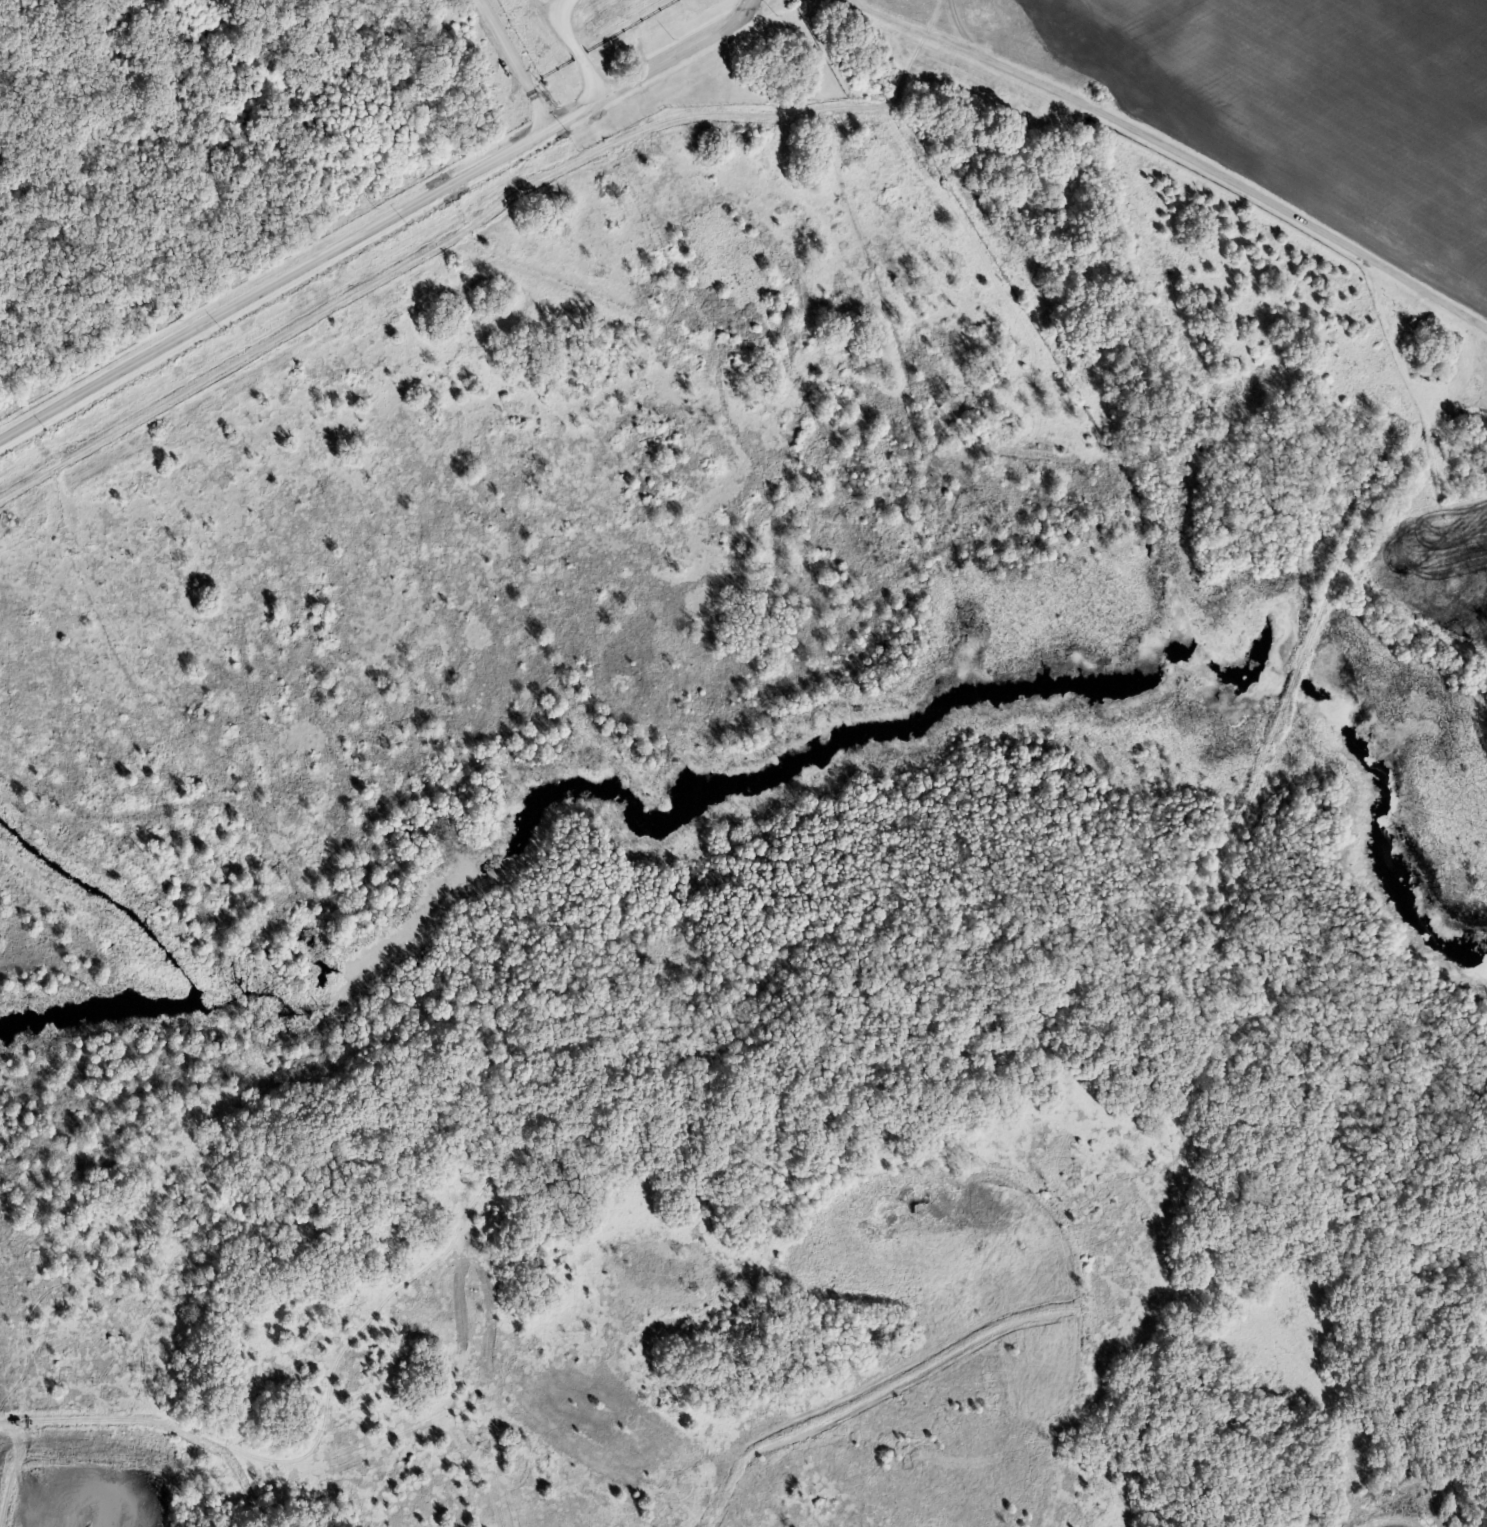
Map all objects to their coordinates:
road: (512, 63)
road: (661, 63)
road: (1174, 149)
road: (273, 282)
road: (257, 376)

